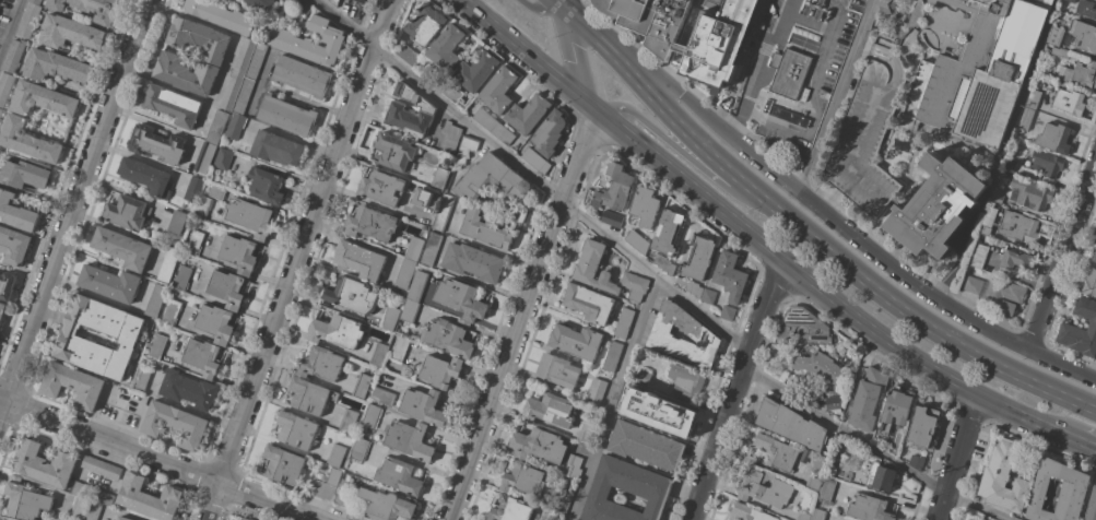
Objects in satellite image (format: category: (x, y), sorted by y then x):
building: (346, 1)
building: (361, 1)
building: (1071, 1)
building: (35, 2)
building: (334, 2)
building: (260, 4)
road: (564, 4)
building: (300, 5)
building: (90, 9)
traffic signals: (564, 9)
building: (1086, 9)
road: (540, 10)
building: (883, 10)
building: (221, 15)
building: (28, 21)
building: (910, 21)
building: (425, 24)
road: (11, 28)
building: (70, 32)
building: (1054, 36)
building: (1084, 36)
building: (199, 39)
building: (309, 40)
building: (446, 47)
building: (694, 48)
building: (1054, 51)
road: (573, 54)
building: (406, 55)
building: (14, 56)
building: (244, 56)
building: (256, 61)
building: (792, 63)
building: (56, 66)
road: (758, 69)
building: (981, 70)
building: (475, 71)
building: (185, 73)
building: (1079, 73)
building: (302, 75)
building: (433, 76)
building: (4, 87)
building: (497, 90)
building: (450, 91)
building: (231, 92)
road: (834, 95)
building: (243, 96)
traffic signals: (585, 98)
building: (1033, 98)
building: (43, 99)
building: (1069, 102)
building: (173, 105)
building: (0, 111)
building: (410, 113)
building: (527, 114)
building: (287, 116)
building: (788, 116)
building: (1025, 118)
building: (485, 119)
building: (235, 126)
building: (216, 127)
building: (503, 133)
building: (549, 133)
building: (450, 135)
building: (1053, 138)
building: (27, 141)
building: (156, 144)
building: (275, 149)
building: (394, 151)
building: (465, 151)
building: (204, 157)
building: (851, 158)
building: (223, 159)
building: (535, 159)
road: (690, 159)
building: (1046, 162)
building: (1010, 165)
building: (23, 175)
building: (145, 177)
road: (535, 178)
building: (439, 179)
building: (492, 180)
building: (266, 186)
building: (381, 188)
building: (614, 188)
building: (192, 189)
building: (215, 193)
building: (1029, 193)
building: (997, 194)
building: (420, 197)
road: (358, 199)
road: (74, 205)
building: (645, 205)
building: (202, 206)
building: (127, 212)
building: (15, 213)
building: (425, 213)
building: (444, 213)
building: (249, 217)
building: (612, 218)
building: (987, 221)
building: (176, 222)
building: (372, 224)
building: (1017, 226)
building: (484, 229)
road: (805, 229)
building: (668, 231)
road: (747, 234)
road: (853, 237)
building: (636, 241)
building: (193, 243)
building: (13, 246)
building: (122, 248)
building: (413, 248)
building: (432, 248)
building: (239, 253)
building: (978, 256)
building: (698, 257)
road: (1061, 257)
building: (1094, 258)
road: (299, 259)
building: (360, 260)
building: (1016, 260)
building: (473, 262)
building: (663, 264)
building: (167, 265)
building: (593, 268)
building: (404, 273)
building: (181, 276)
building: (730, 276)
building: (109, 283)
building: (1089, 284)
building: (416, 285)
building: (634, 285)
building: (7, 286)
building: (691, 287)
building: (226, 288)
building: (995, 293)
building: (352, 296)
building: (708, 296)
building: (460, 299)
building: (154, 302)
building: (588, 303)
road: (522, 308)
building: (2, 309)
building: (410, 311)
building: (169, 312)
building: (727, 312)
building: (186, 316)
building: (389, 318)
building: (215, 323)
building: (623, 323)
building: (802, 328)
building: (1080, 329)
building: (335, 331)
building: (699, 333)
building: (123, 338)
building: (449, 338)
building: (576, 341)
building: (157, 346)
building: (400, 348)
building: (378, 354)
building: (612, 356)
building: (202, 357)
building: (320, 364)
building: (820, 368)
building: (440, 370)
building: (557, 370)
building: (641, 377)
building: (142, 378)
building: (686, 381)
building: (72, 385)
building: (361, 386)
building: (188, 389)
building: (596, 392)
road: (741, 392)
building: (816, 393)
building: (309, 395)
building: (382, 397)
road: (612, 398)
building: (868, 399)
building: (834, 405)
building: (423, 406)
building: (896, 409)
building: (549, 410)
building: (632, 414)
building: (370, 417)
building: (668, 417)
building: (347, 421)
building: (174, 424)
building: (790, 424)
building: (923, 425)
building: (295, 429)
building: (585, 430)
building: (409, 440)
road: (1076, 442)
building: (645, 445)
building: (539, 446)
building: (360, 449)
road: (875, 450)
building: (776, 452)
building: (335, 456)
road: (956, 457)
road: (155, 461)
building: (916, 463)
building: (43, 464)
building: (93, 464)
building: (283, 464)
building: (818, 464)
building: (574, 466)
building: (111, 471)
building: (832, 471)
building: (399, 476)
building: (881, 477)
building: (1003, 477)
building: (523, 478)
building: (814, 483)
building: (327, 486)
building: (764, 487)
building: (827, 488)
building: (83, 491)
building: (625, 492)
building: (1058, 492)
building: (103, 497)
building: (148, 498)
building: (376, 499)
building: (25, 501)
building: (563, 501)
building: (1091, 506)
building: (80, 508)
building: (869, 508)
building: (510, 510)
building: (93, 511)
building: (747, 513)
building: (818, 515)
building: (802, 516)
building: (122, 518)
building: (552, 518)
building: (238, 519)
building: (244, 519)

